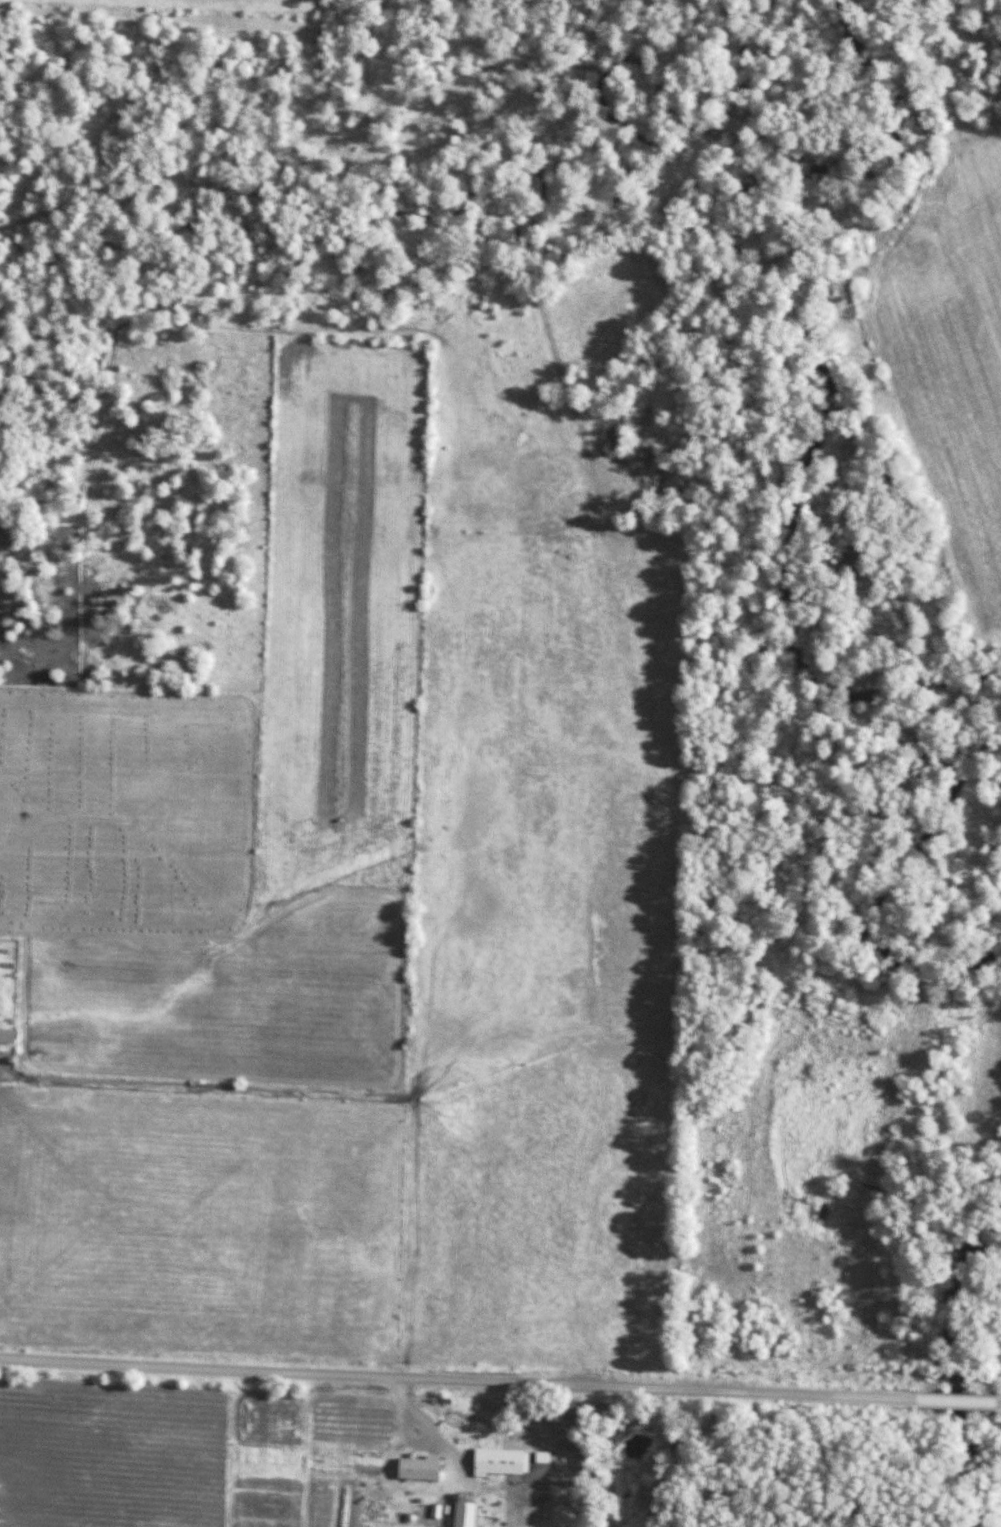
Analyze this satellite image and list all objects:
building: (7, 1036)
road: (500, 1382)

